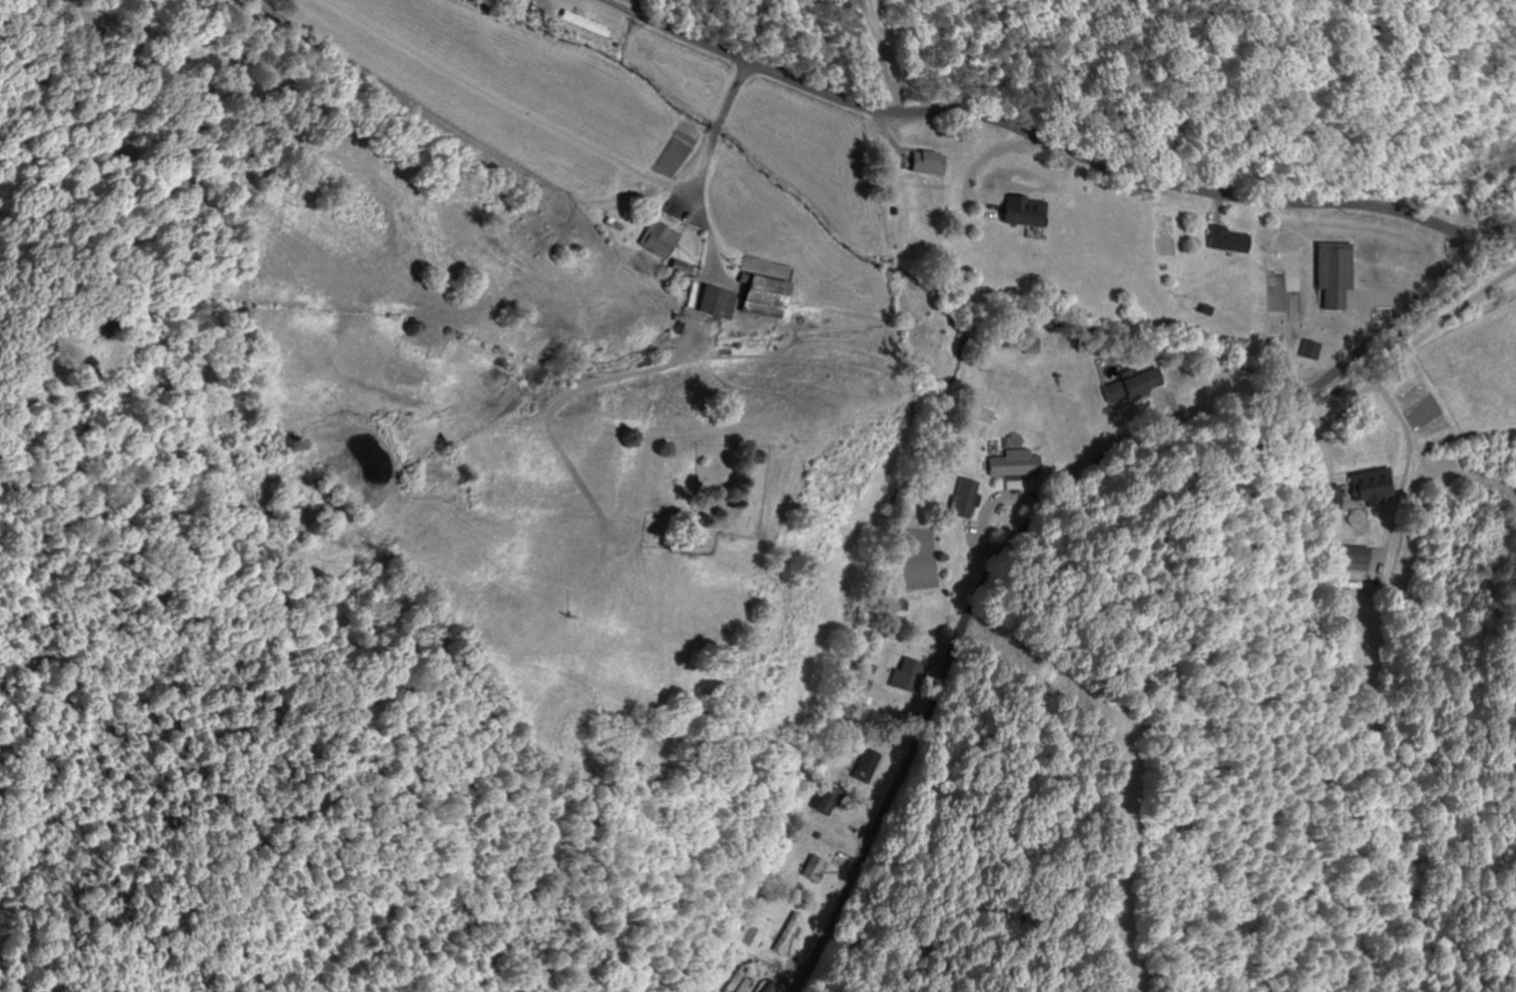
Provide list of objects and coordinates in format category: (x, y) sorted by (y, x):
building: (582, 24)
road: (509, 106)
road: (719, 126)
road: (1060, 143)
building: (923, 163)
building: (657, 240)
building: (1227, 240)
building: (1330, 274)
building: (758, 297)
building: (713, 303)
building: (1028, 347)
road: (638, 374)
building: (1132, 387)
road: (1419, 444)
building: (1014, 464)
building: (1373, 488)
road: (1040, 517)
building: (912, 676)
building: (866, 766)
building: (813, 870)
building: (786, 933)

